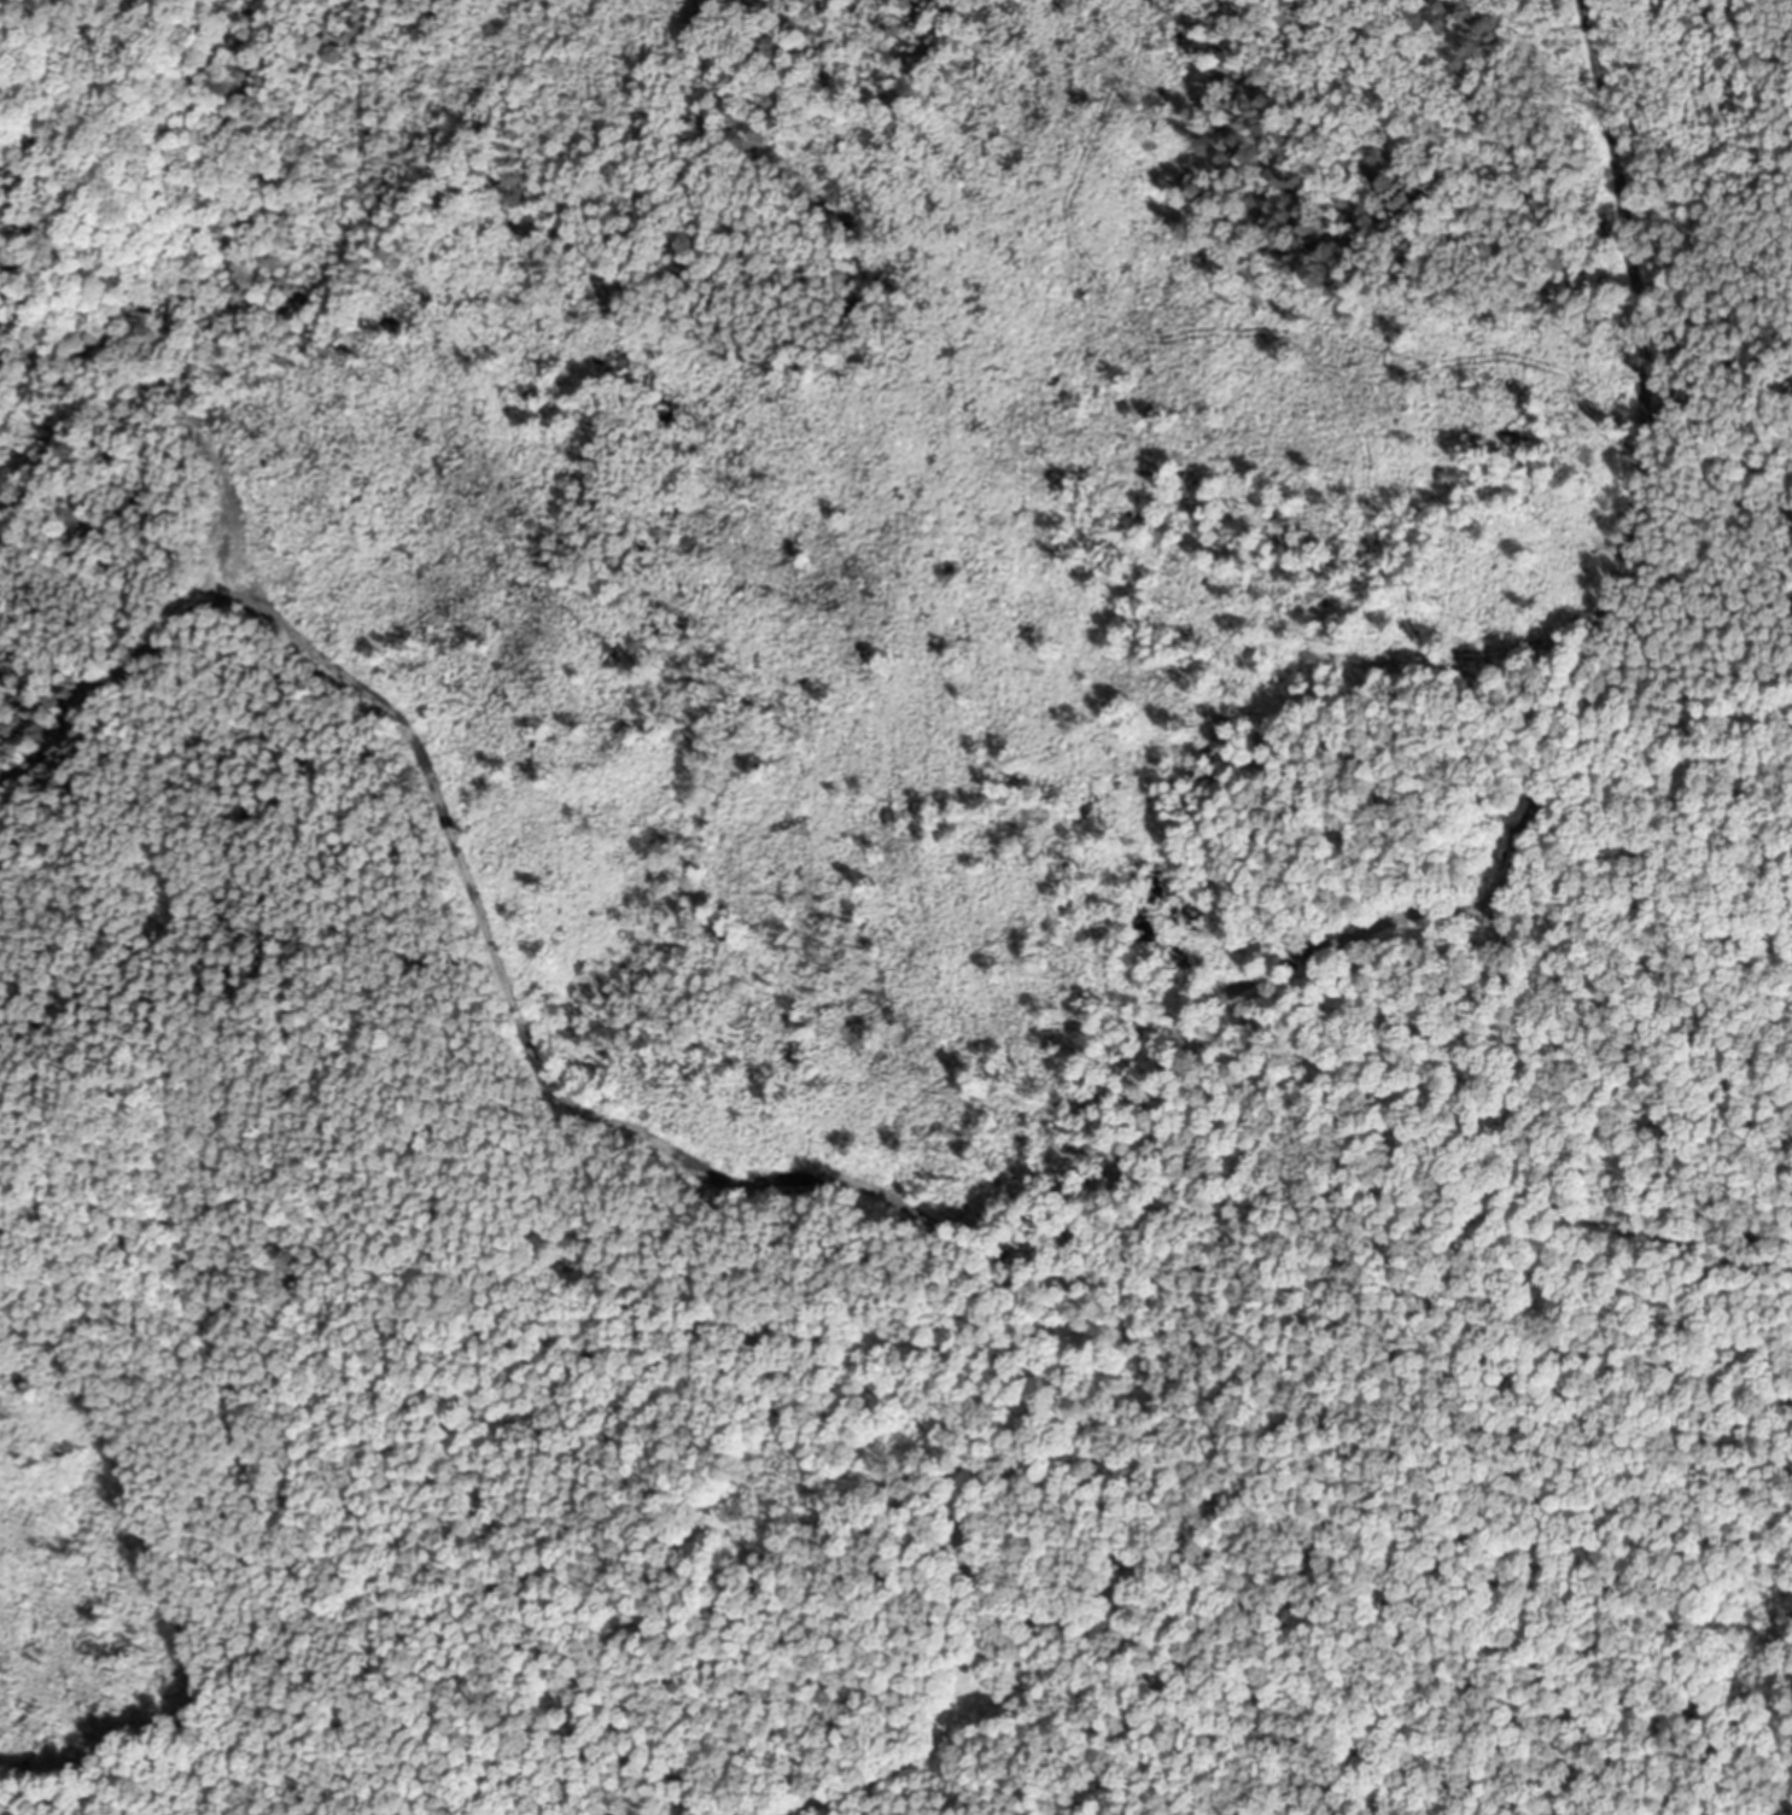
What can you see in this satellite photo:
road: (1079, 1227)

